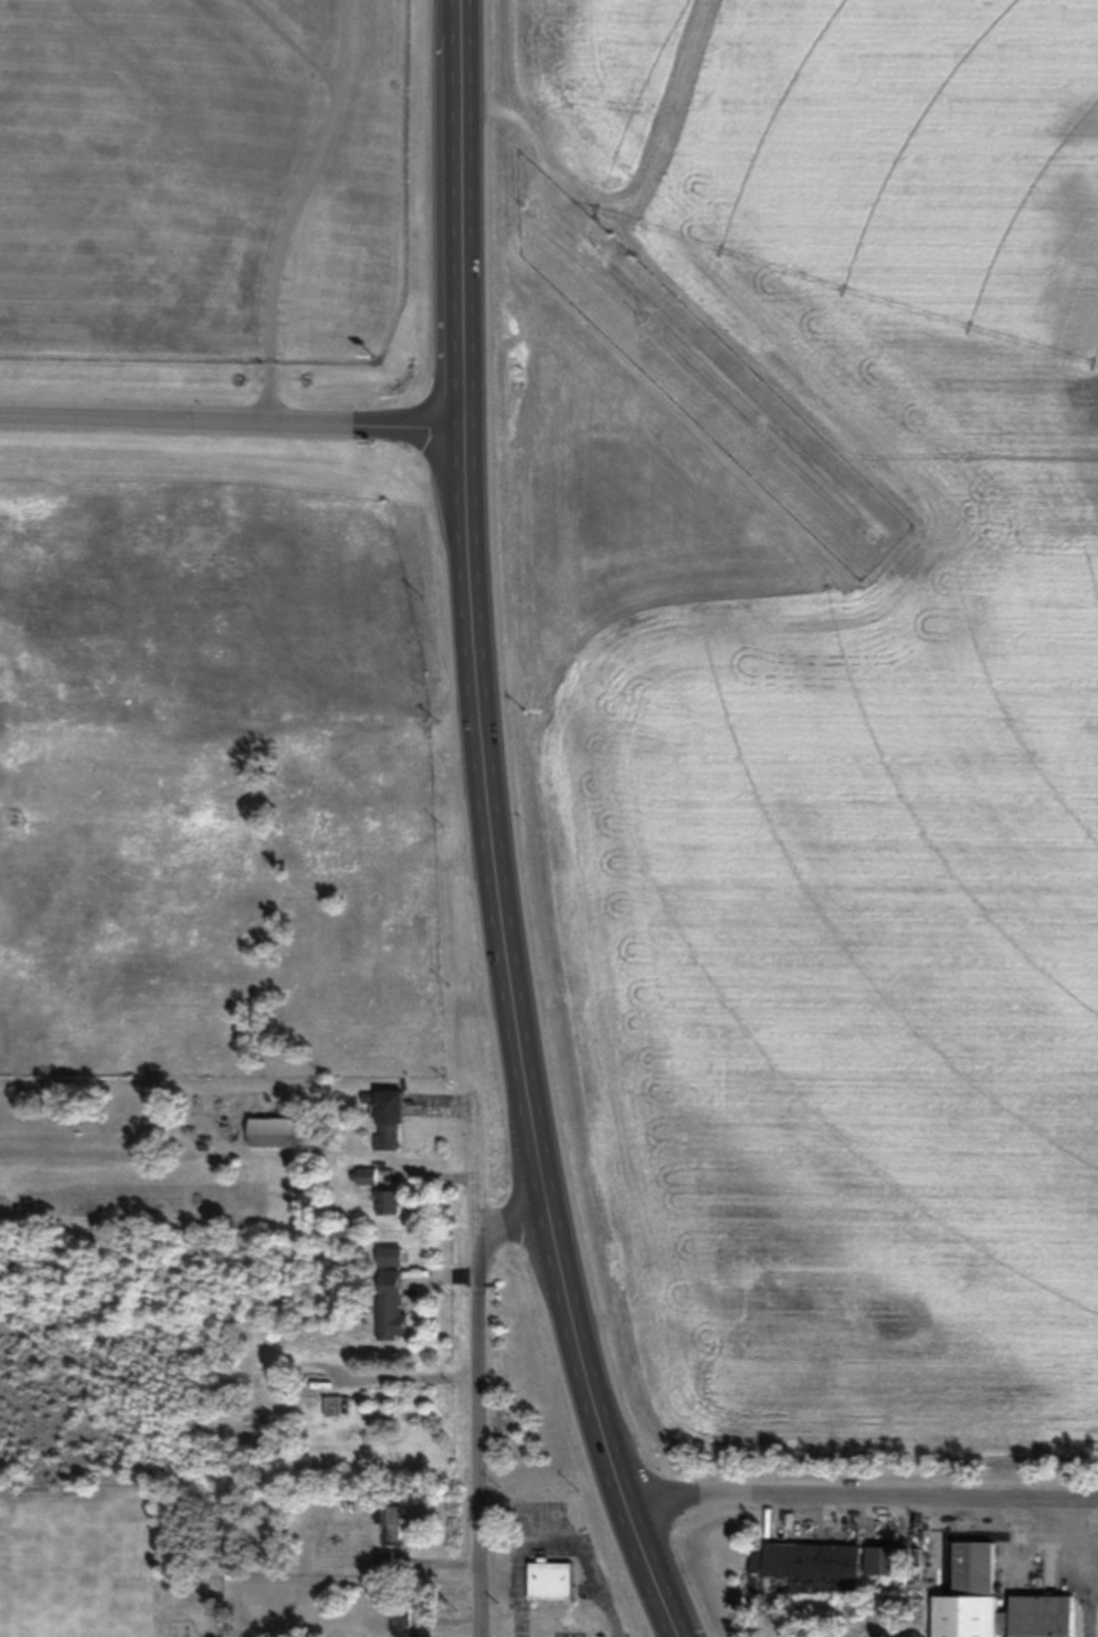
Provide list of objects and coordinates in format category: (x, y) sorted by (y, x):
road: (293, 43)
airport: (215, 202)
road: (294, 210)
road: (233, 426)
crop: (807, 709)
road: (496, 829)
building: (390, 1117)
building: (275, 1132)
building: (368, 1176)
building: (391, 1201)
road: (516, 1230)
building: (392, 1257)
building: (392, 1304)
road: (476, 1360)
building: (338, 1406)
road: (862, 1501)
building: (393, 1521)
road: (1012, 1534)
building: (887, 1561)
building: (807, 1570)
road: (1073, 1573)
building: (552, 1581)
building: (996, 1603)
building: (407, 1625)

